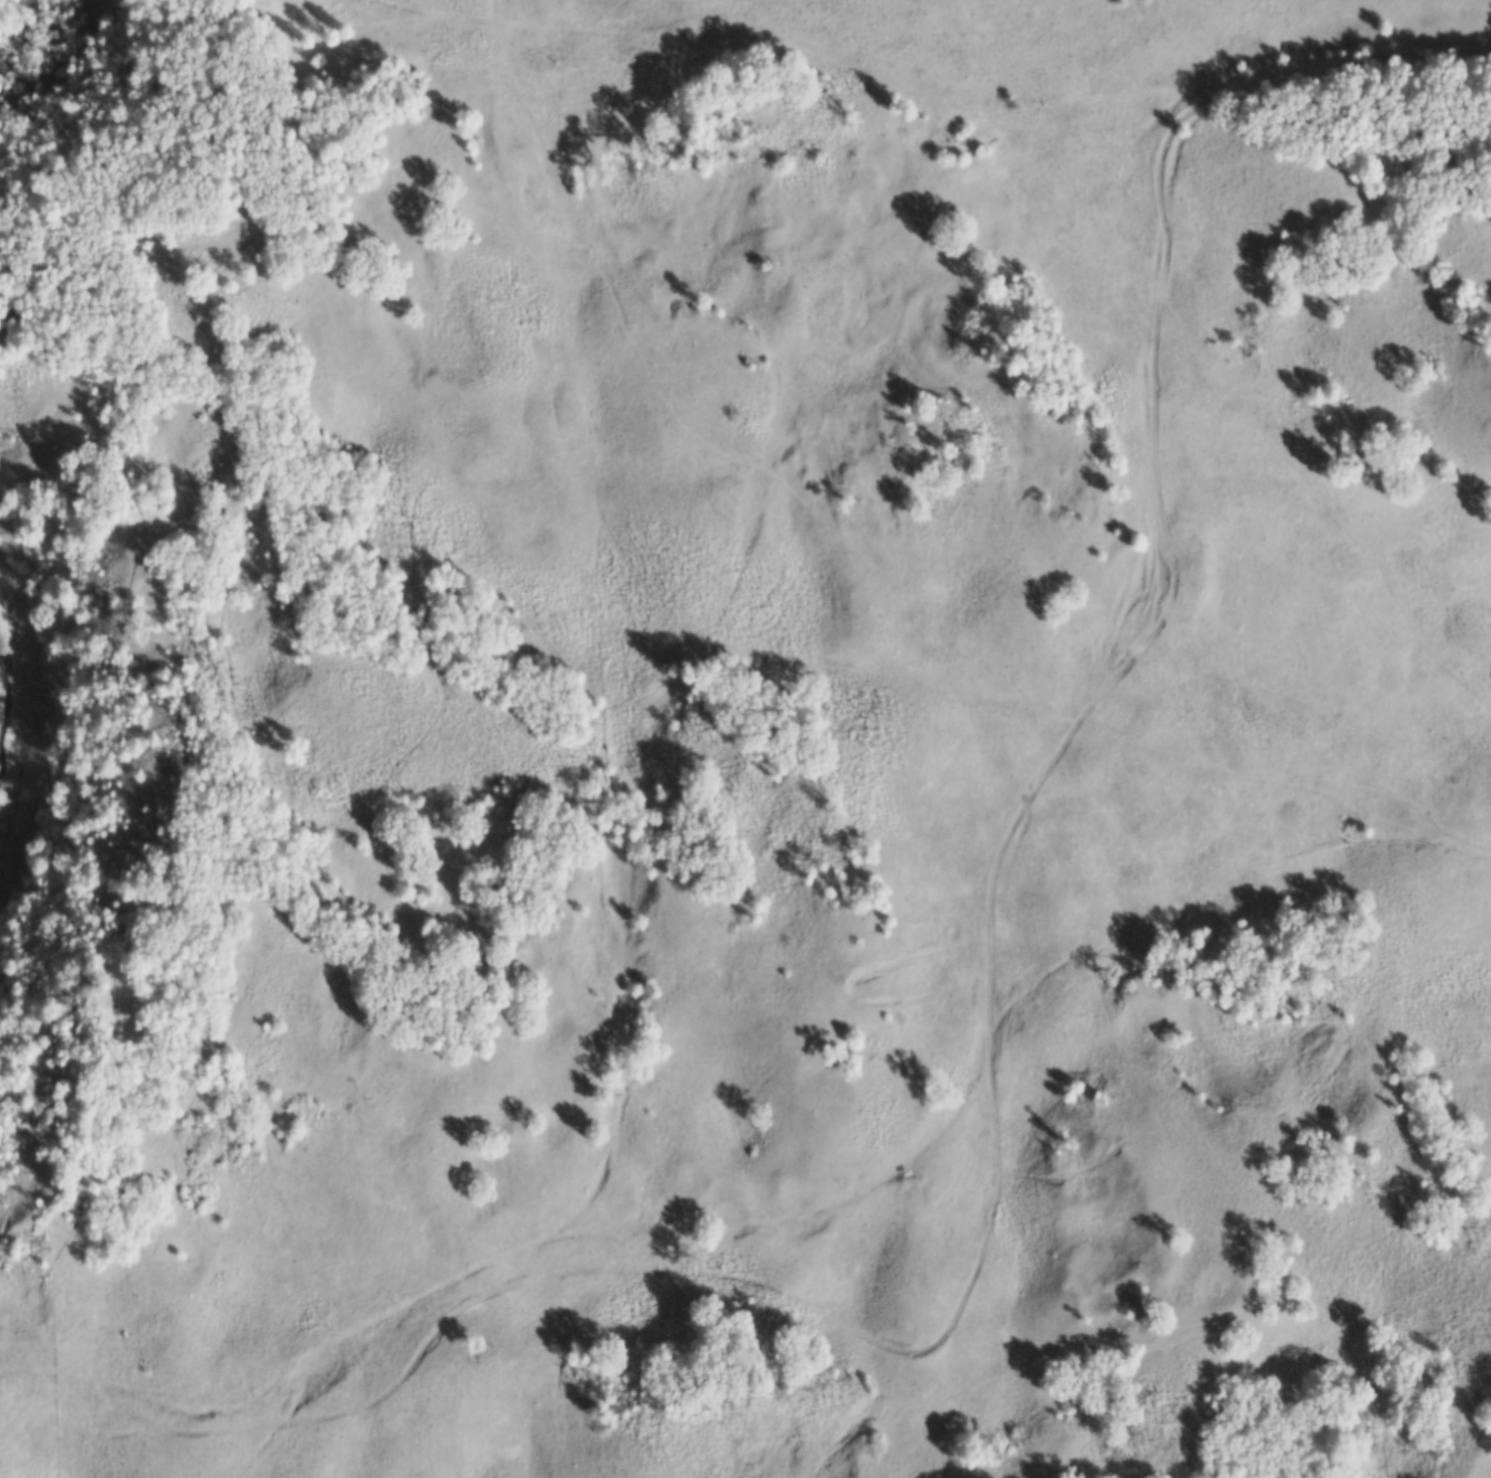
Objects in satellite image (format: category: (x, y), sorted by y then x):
road: (994, 1100)

